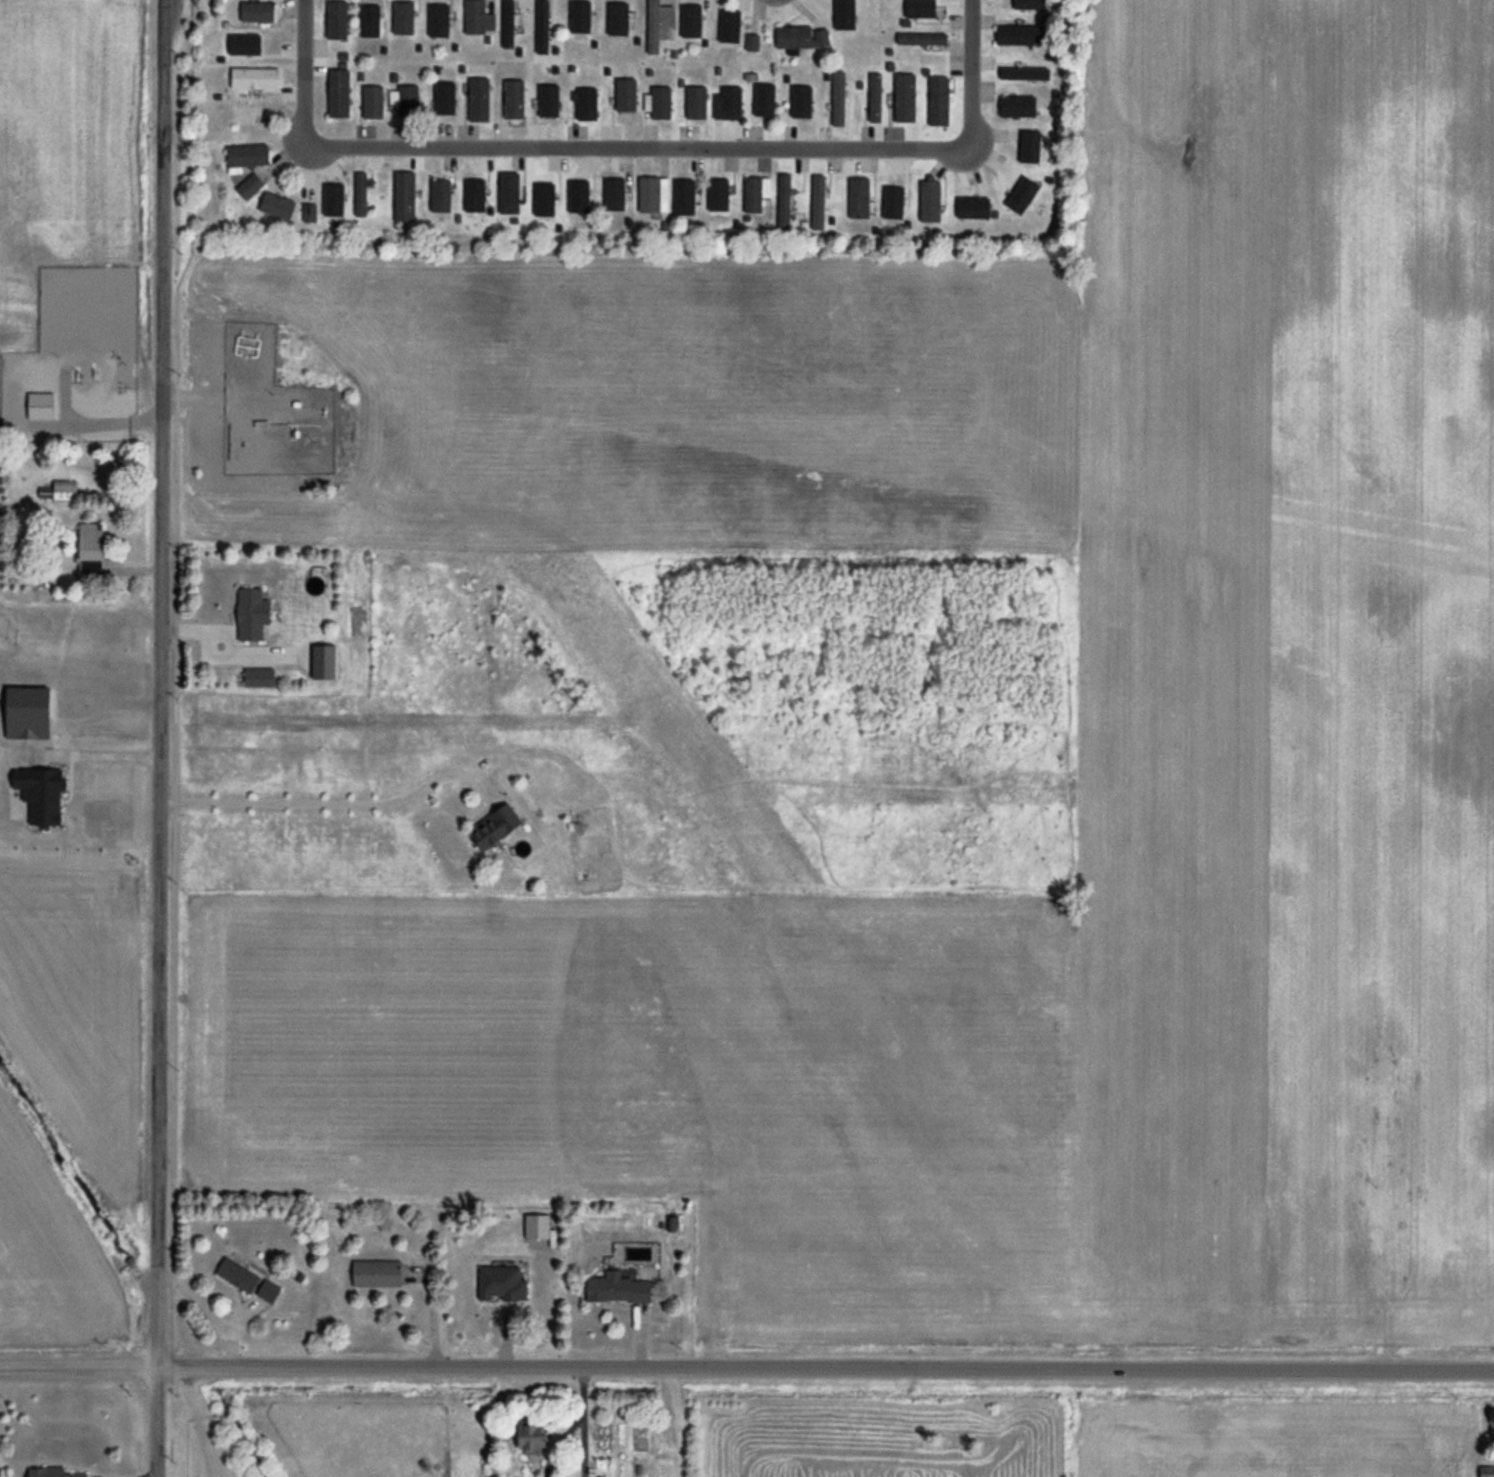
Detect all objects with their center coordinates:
building: (1024, 4)
building: (920, 8)
building: (258, 12)
building: (477, 17)
building: (403, 18)
building: (584, 18)
building: (336, 19)
building: (507, 23)
building: (658, 24)
building: (365, 26)
building: (1020, 34)
building: (801, 36)
building: (922, 38)
building: (752, 41)
road: (303, 70)
road: (970, 70)
building: (255, 77)
building: (338, 93)
building: (875, 96)
building: (626, 97)
building: (905, 97)
building: (513, 98)
building: (837, 98)
building: (479, 99)
building: (764, 99)
building: (405, 100)
building: (549, 100)
building: (939, 100)
building: (658, 101)
building: (373, 102)
building: (586, 102)
building: (696, 102)
building: (728, 102)
building: (1017, 105)
building: (253, 115)
road: (162, 134)
building: (1032, 144)
road: (637, 150)
building: (248, 155)
building: (250, 186)
crop: (66, 190)
building: (756, 192)
building: (509, 193)
building: (361, 194)
building: (654, 194)
building: (404, 195)
building: (440, 195)
building: (474, 195)
building: (539, 197)
building: (859, 197)
building: (818, 199)
building: (930, 199)
building: (332, 202)
building: (579, 205)
building: (280, 206)
building: (974, 208)
building: (309, 212)
building: (89, 404)
building: (60, 492)
building: (90, 548)
crop: (1286, 570)
building: (252, 614)
building: (324, 662)
building: (259, 677)
road: (175, 681)
road: (104, 701)
road: (90, 752)
road: (325, 803)
building: (494, 827)
road: (157, 872)
crop: (68, 971)
building: (376, 1274)
building: (238, 1275)
building: (617, 1288)
building: (267, 1290)
road: (746, 1366)
road: (588, 1389)
building: (532, 1437)
park: (210, 1440)
road: (565, 1443)
road: (587, 1445)
building: (1487, 1472)
building: (52, 1473)

